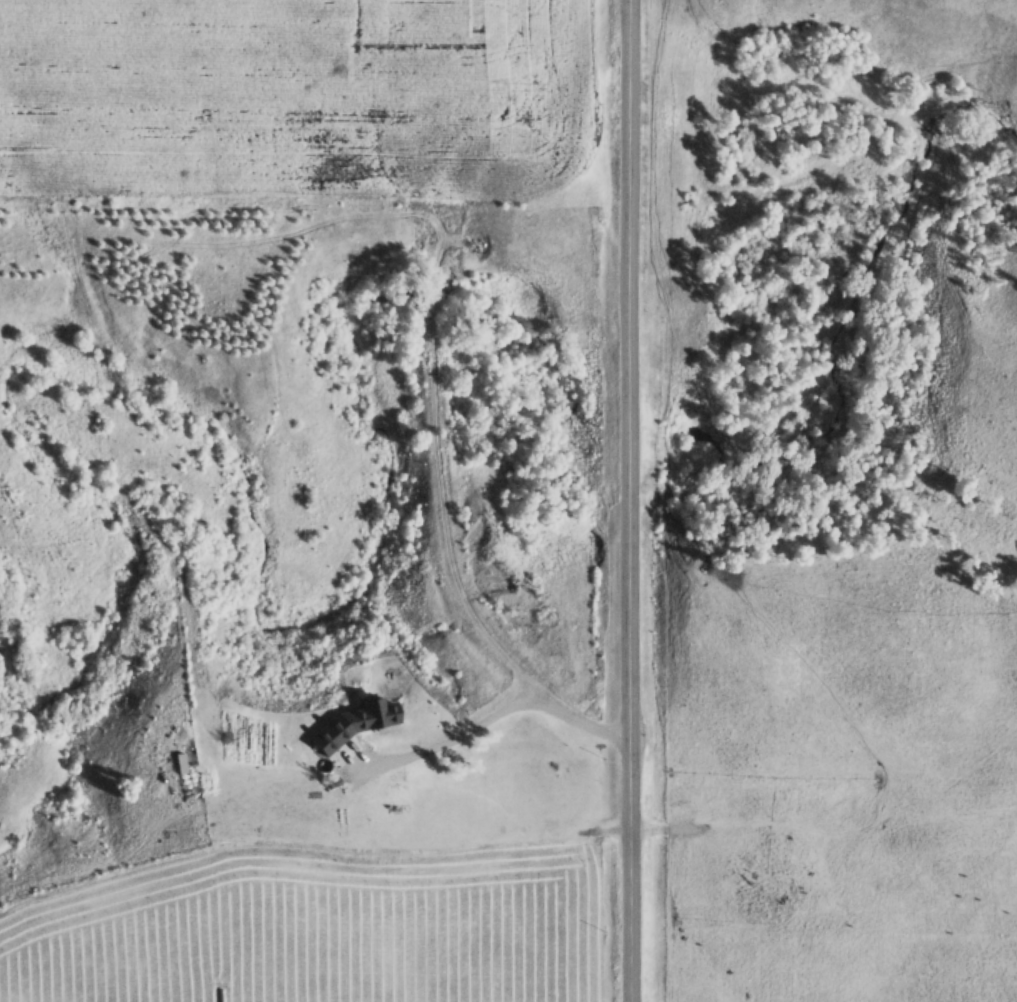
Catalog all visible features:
road: (631, 501)

